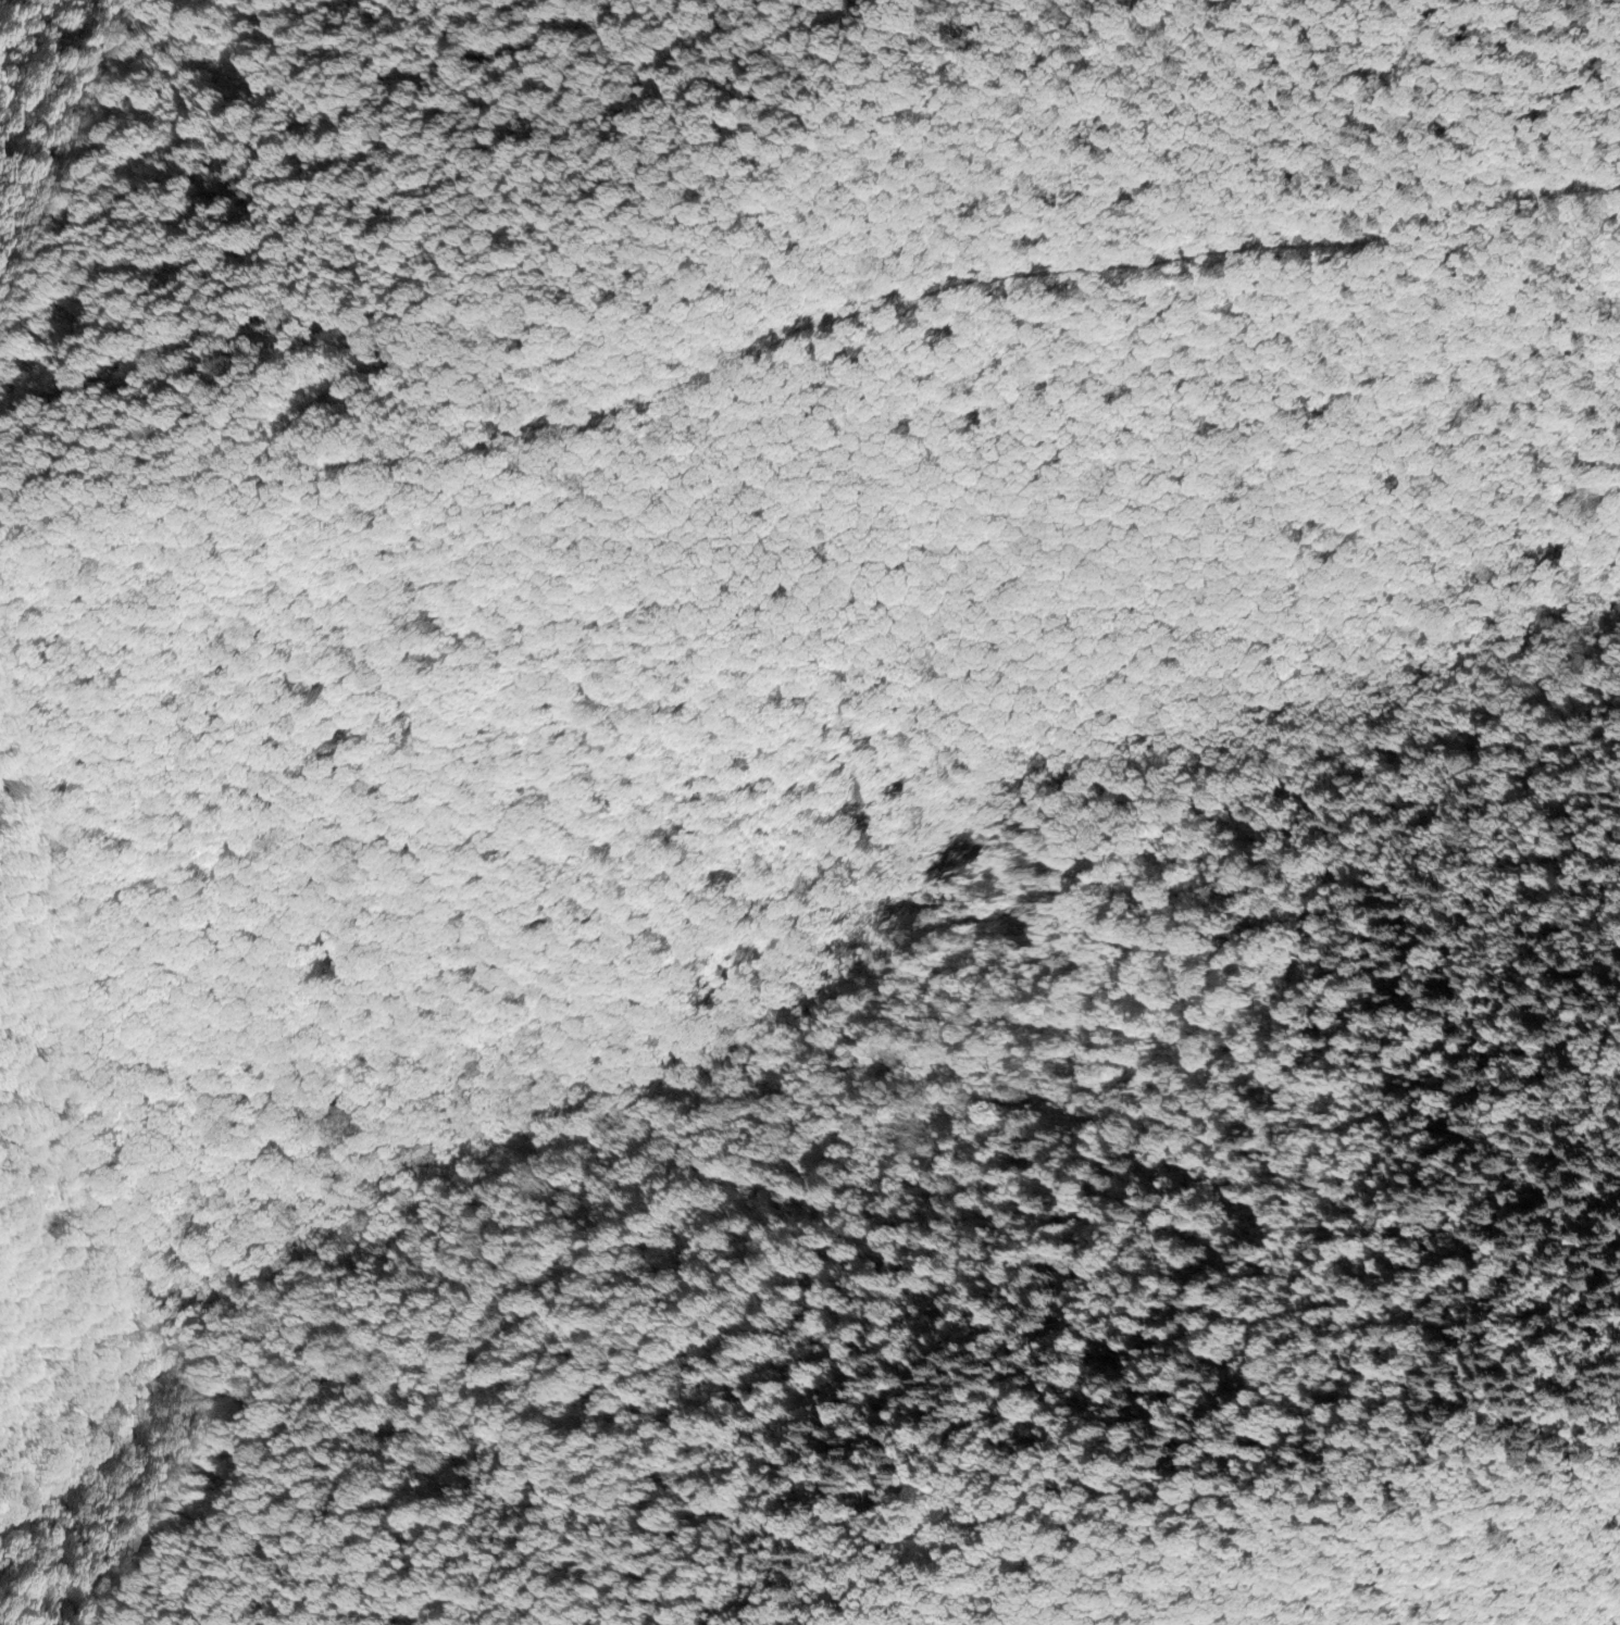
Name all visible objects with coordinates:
road: (1287, 139)

